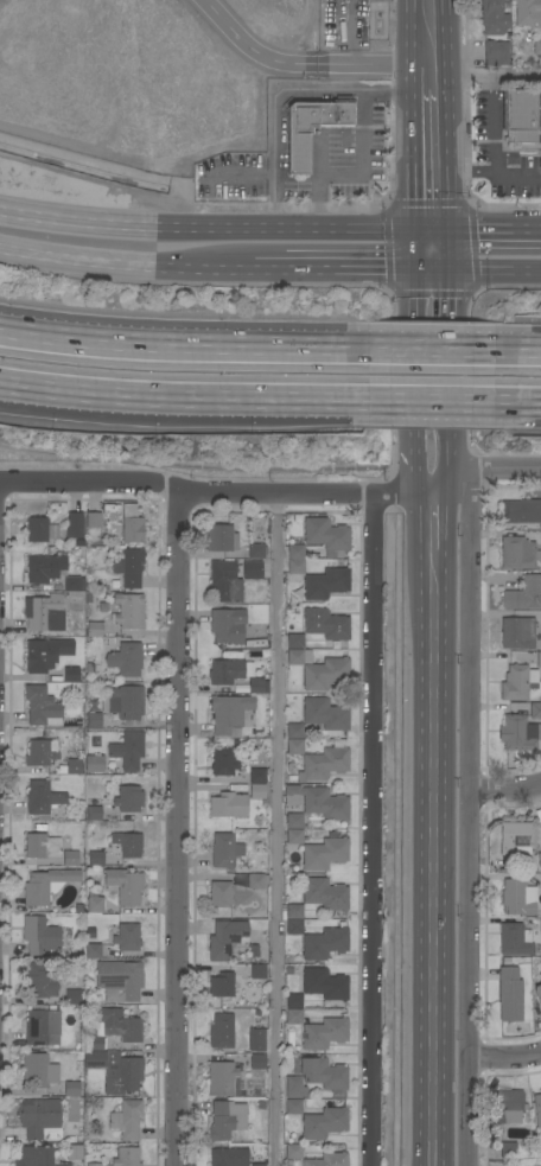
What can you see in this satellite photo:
building: (528, 13)
building: (494, 18)
parking lot: (344, 25)
road: (354, 32)
road: (427, 38)
building: (537, 46)
road: (254, 50)
building: (495, 53)
road: (374, 65)
airport: (147, 78)
road: (484, 78)
road: (284, 93)
building: (521, 117)
building: (313, 128)
road: (490, 149)
road: (361, 152)
road: (428, 155)
road: (459, 172)
road: (318, 184)
road: (214, 232)
traffic signals: (429, 234)
road: (485, 234)
road: (429, 251)
road: (126, 266)
road: (269, 270)
road: (357, 270)
traffic signals: (429, 270)
road: (485, 272)
road: (416, 291)
road: (444, 291)
road: (182, 349)
road: (429, 351)
road: (517, 352)
road: (414, 372)
road: (448, 372)
road: (183, 394)
road: (431, 397)
road: (518, 399)
road: (414, 460)
road: (447, 460)
road: (484, 470)
road: (215, 493)
building: (521, 512)
building: (93, 520)
building: (131, 524)
building: (74, 525)
building: (37, 530)
building: (326, 536)
building: (221, 539)
building: (256, 550)
building: (517, 554)
building: (295, 562)
building: (129, 567)
building: (252, 569)
building: (51, 572)
building: (225, 581)
building: (326, 584)
building: (523, 594)
building: (128, 611)
building: (44, 613)
building: (325, 624)
building: (227, 625)
building: (94, 629)
building: (517, 632)
building: (294, 642)
building: (45, 654)
building: (298, 656)
building: (125, 660)
building: (539, 660)
building: (228, 671)
building: (325, 674)
building: (70, 675)
building: (517, 683)
building: (256, 686)
building: (125, 702)
building: (42, 707)
building: (535, 711)
building: (229, 714)
building: (325, 714)
building: (94, 720)
building: (294, 731)
building: (520, 733)
building: (294, 746)
building: (127, 751)
building: (40, 752)
building: (223, 762)
building: (94, 763)
building: (324, 763)
building: (74, 766)
building: (257, 776)
road: (504, 790)
building: (257, 791)
building: (42, 798)
building: (128, 799)
building: (318, 802)
building: (228, 805)
building: (94, 809)
road: (469, 817)
building: (294, 821)
road: (431, 824)
road: (174, 829)
road: (274, 830)
road: (369, 832)
building: (294, 836)
building: (514, 836)
building: (128, 845)
building: (42, 846)
building: (224, 850)
building: (324, 854)
building: (539, 858)
building: (72, 859)
building: (95, 859)
building: (256, 880)
building: (46, 885)
building: (125, 886)
building: (324, 893)
building: (219, 894)
building: (517, 897)
building: (94, 901)
building: (294, 911)
building: (540, 924)
building: (294, 926)
building: (40, 936)
building: (127, 937)
building: (225, 938)
building: (514, 938)
building: (324, 943)
building: (91, 950)
building: (254, 951)
building: (257, 971)
building: (119, 980)
building: (39, 981)
building: (324, 983)
building: (221, 985)
building: (537, 993)
building: (509, 994)
building: (72, 996)
building: (293, 1001)
building: (293, 1017)
building: (42, 1027)
building: (114, 1027)
building: (221, 1031)
building: (324, 1033)
building: (256, 1039)
road: (504, 1056)
building: (257, 1062)
building: (38, 1070)
building: (115, 1070)
building: (323, 1073)
building: (221, 1077)
building: (294, 1088)
building: (71, 1089)
building: (293, 1107)
building: (507, 1107)
building: (537, 1109)
building: (39, 1119)
building: (225, 1119)
building: (127, 1120)
building: (324, 1123)
building: (508, 1151)
building: (74, 1152)
building: (293, 1152)
building: (37, 1157)
building: (126, 1157)
building: (228, 1157)
building: (327, 1160)
building: (93, 1165)
building: (257, 1165)

